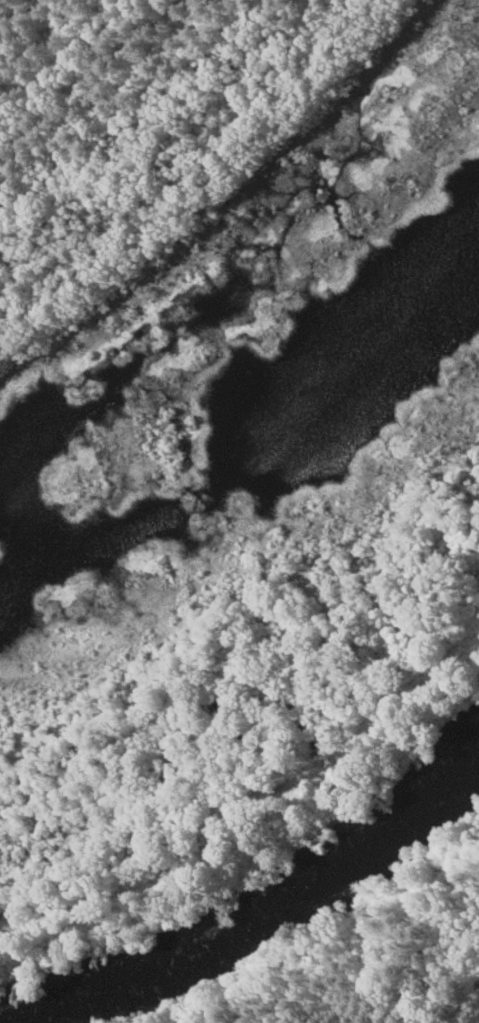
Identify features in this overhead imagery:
river: (245, 865)

